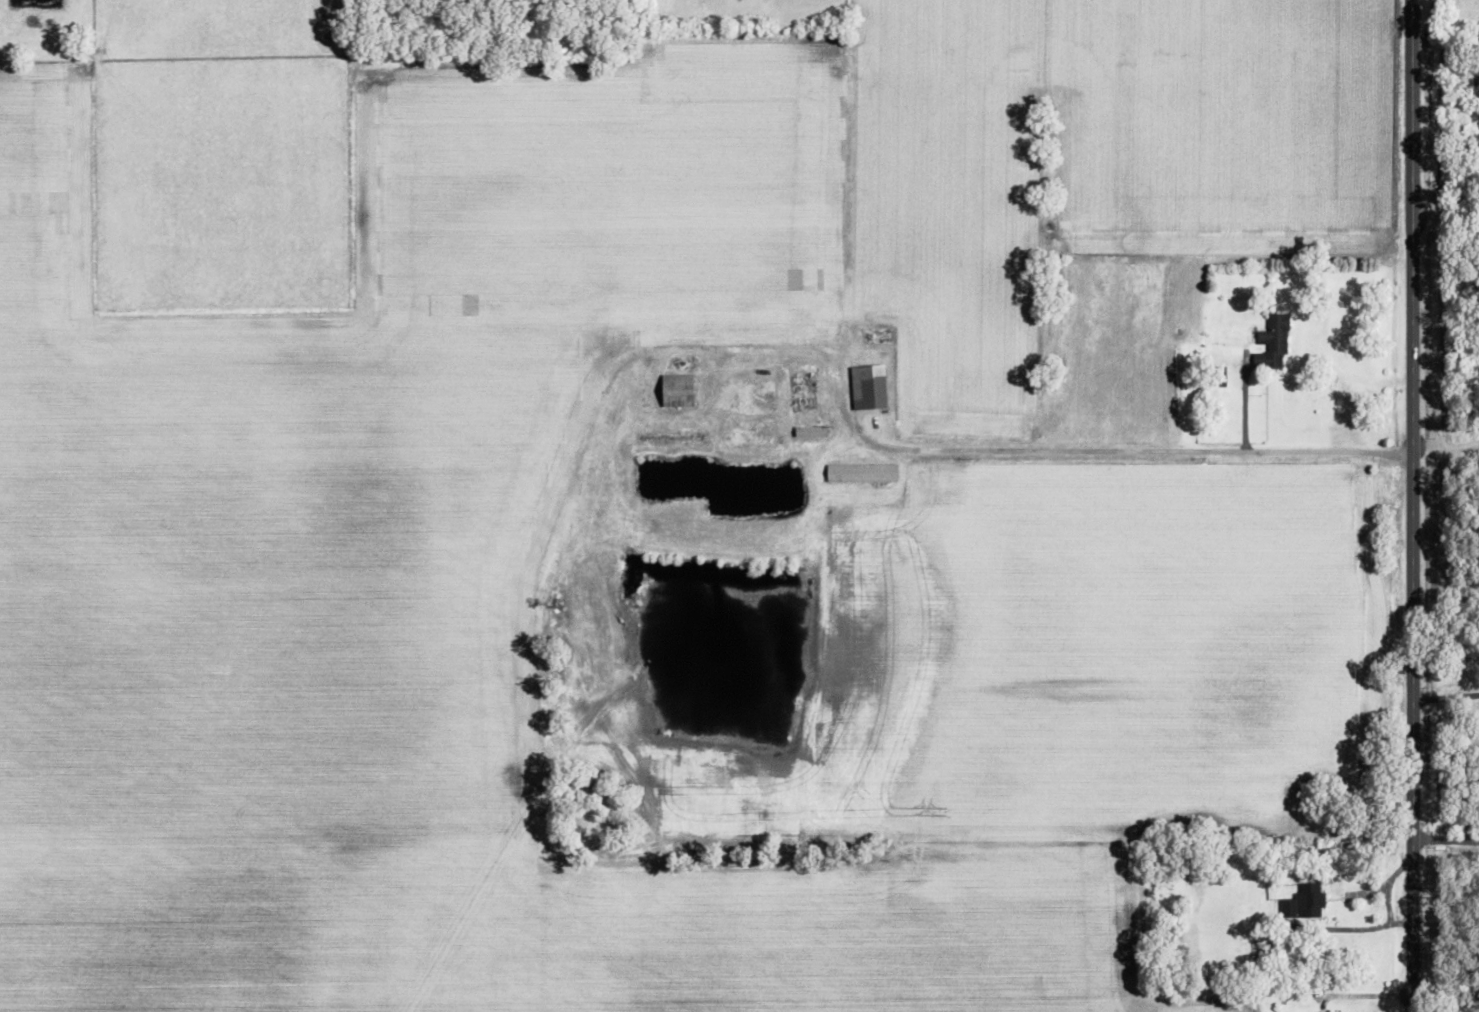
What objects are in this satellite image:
road: (1446, 210)
building: (1273, 341)
road: (795, 350)
building: (868, 386)
building: (677, 390)
building: (811, 431)
road: (1145, 456)
building: (861, 472)
road: (1413, 505)
road: (1446, 697)
road: (1387, 884)
building: (1304, 902)
road: (1368, 926)
road: (1365, 996)

